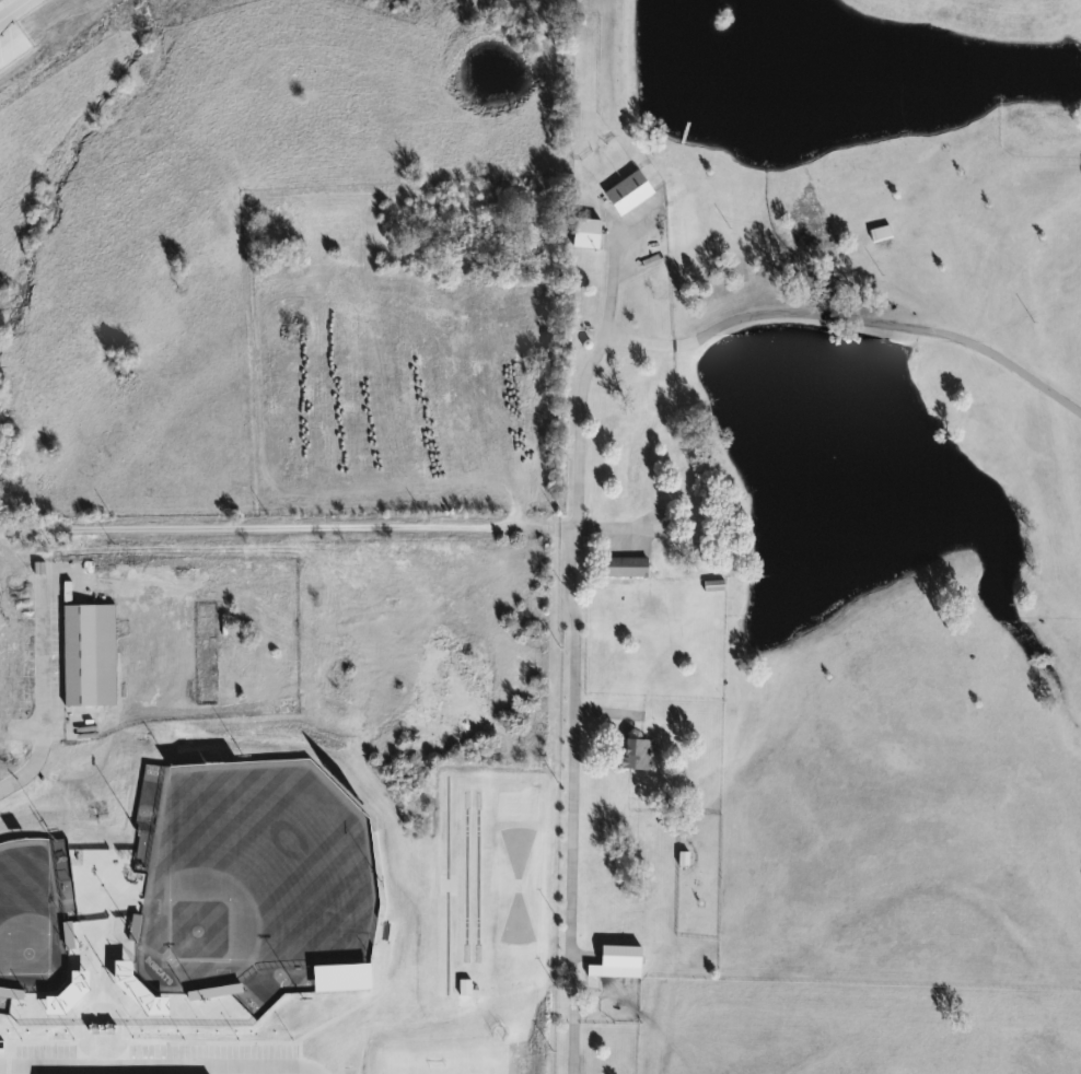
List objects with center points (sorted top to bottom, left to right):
road: (13, 9)
road: (39, 27)
building: (631, 190)
building: (589, 232)
building: (881, 232)
road: (791, 313)
road: (576, 430)
building: (681, 472)
road: (284, 528)
building: (628, 565)
building: (89, 654)
building: (636, 752)
road: (572, 756)
road: (33, 764)
building: (618, 961)
road: (568, 1030)

